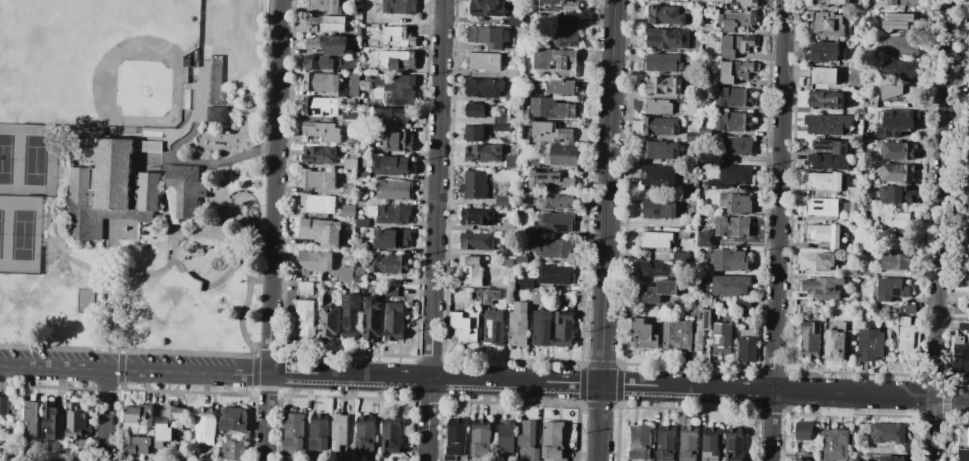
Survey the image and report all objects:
building: (830, 2)
building: (904, 2)
building: (750, 3)
building: (326, 5)
building: (560, 5)
building: (400, 7)
building: (488, 8)
building: (358, 12)
building: (666, 15)
building: (369, 18)
building: (690, 18)
building: (516, 19)
building: (737, 20)
building: (900, 20)
building: (827, 23)
building: (326, 24)
building: (377, 29)
building: (356, 30)
building: (567, 31)
building: (489, 35)
building: (397, 37)
building: (668, 39)
building: (327, 45)
building: (737, 45)
building: (901, 45)
building: (480, 47)
building: (824, 51)
building: (356, 53)
park: (94, 61)
building: (396, 61)
building: (485, 61)
building: (557, 61)
building: (664, 62)
building: (317, 63)
building: (899, 69)
building: (737, 71)
building: (512, 72)
road: (277, 74)
building: (968, 74)
building: (823, 75)
building: (215, 79)
building: (329, 84)
building: (665, 85)
building: (397, 87)
building: (562, 87)
building: (484, 88)
building: (898, 93)
building: (510, 96)
building: (735, 97)
building: (826, 100)
building: (869, 100)
road: (225, 105)
building: (658, 106)
building: (707, 106)
building: (967, 106)
building: (320, 107)
building: (552, 108)
building: (477, 110)
building: (215, 114)
building: (350, 116)
building: (396, 117)
building: (502, 118)
building: (735, 121)
building: (897, 122)
road: (240, 123)
building: (826, 123)
building: (366, 125)
building: (661, 125)
building: (502, 126)
building: (968, 128)
building: (706, 130)
building: (323, 131)
building: (477, 133)
building: (552, 133)
building: (693, 136)
road: (246, 139)
building: (398, 141)
building: (831, 145)
building: (735, 146)
building: (364, 149)
building: (897, 149)
building: (660, 150)
building: (966, 150)
building: (352, 151)
building: (482, 153)
building: (318, 155)
building: (564, 155)
road: (208, 161)
building: (511, 161)
building: (536, 161)
building: (826, 162)
building: (392, 165)
building: (523, 165)
building: (895, 171)
park: (131, 172)
building: (362, 174)
building: (658, 175)
building: (732, 176)
building: (514, 177)
building: (968, 178)
building: (317, 179)
building: (551, 180)
building: (824, 181)
building: (475, 185)
building: (110, 188)
building: (183, 189)
building: (348, 189)
building: (394, 190)
building: (965, 190)
building: (851, 191)
park: (23, 192)
building: (895, 194)
building: (502, 198)
building: (554, 201)
building: (736, 202)
building: (317, 203)
building: (849, 206)
building: (822, 207)
building: (659, 208)
building: (348, 210)
building: (390, 215)
building: (477, 216)
building: (896, 219)
building: (556, 222)
building: (361, 223)
building: (689, 225)
building: (508, 226)
building: (732, 227)
building: (968, 229)
building: (320, 230)
road: (437, 230)
road: (606, 230)
road: (775, 230)
road: (940, 230)
building: (683, 234)
building: (824, 235)
building: (391, 239)
building: (655, 239)
building: (477, 241)
building: (704, 242)
building: (360, 246)
building: (552, 247)
building: (506, 249)
road: (109, 256)
building: (968, 256)
building: (521, 258)
building: (730, 259)
building: (894, 260)
road: (270, 261)
building: (314, 261)
building: (816, 262)
building: (389, 263)
building: (508, 263)
road: (243, 266)
building: (653, 268)
building: (862, 270)
building: (470, 271)
building: (848, 271)
road: (122, 273)
building: (555, 274)
building: (344, 275)
building: (357, 278)
road: (259, 280)
building: (967, 282)
building: (523, 283)
building: (727, 285)
road: (205, 286)
building: (822, 287)
road: (100, 289)
road: (116, 289)
building: (889, 289)
building: (391, 291)
building: (657, 291)
building: (489, 296)
building: (508, 296)
building: (536, 297)
building: (554, 297)
building: (567, 297)
building: (327, 298)
building: (743, 303)
building: (883, 308)
building: (305, 309)
building: (655, 309)
building: (713, 309)
building: (908, 309)
building: (967, 310)
building: (350, 312)
building: (372, 317)
building: (329, 321)
building: (393, 321)
building: (518, 324)
building: (464, 326)
building: (963, 326)
building: (493, 327)
building: (542, 327)
building: (563, 327)
building: (700, 327)
road: (107, 333)
building: (643, 334)
building: (677, 335)
building: (905, 336)
building: (722, 339)
building: (809, 339)
building: (838, 342)
building: (870, 344)
building: (747, 345)
building: (960, 356)
road: (133, 370)
road: (519, 382)
road: (812, 392)
road: (912, 396)
building: (4, 405)
road: (105, 415)
building: (138, 415)
road: (266, 417)
building: (233, 418)
building: (31, 419)
building: (51, 422)
building: (76, 422)
building: (167, 425)
building: (206, 426)
building: (807, 431)
building: (320, 432)
building: (294, 433)
building: (340, 433)
building: (367, 433)
building: (887, 433)
building: (244, 435)
building: (964, 436)
building: (392, 437)
building: (456, 437)
building: (480, 437)
building: (494, 439)
building: (506, 439)
building: (552, 439)
building: (710, 439)
building: (529, 442)
building: (640, 443)
building: (666, 443)
building: (688, 443)
building: (136, 444)
building: (734, 444)
building: (835, 444)
building: (233, 449)
building: (71, 453)
building: (962, 455)
building: (891, 458)
building: (0, 459)
building: (376, 459)
building: (800, 459)
building: (447, 460)

